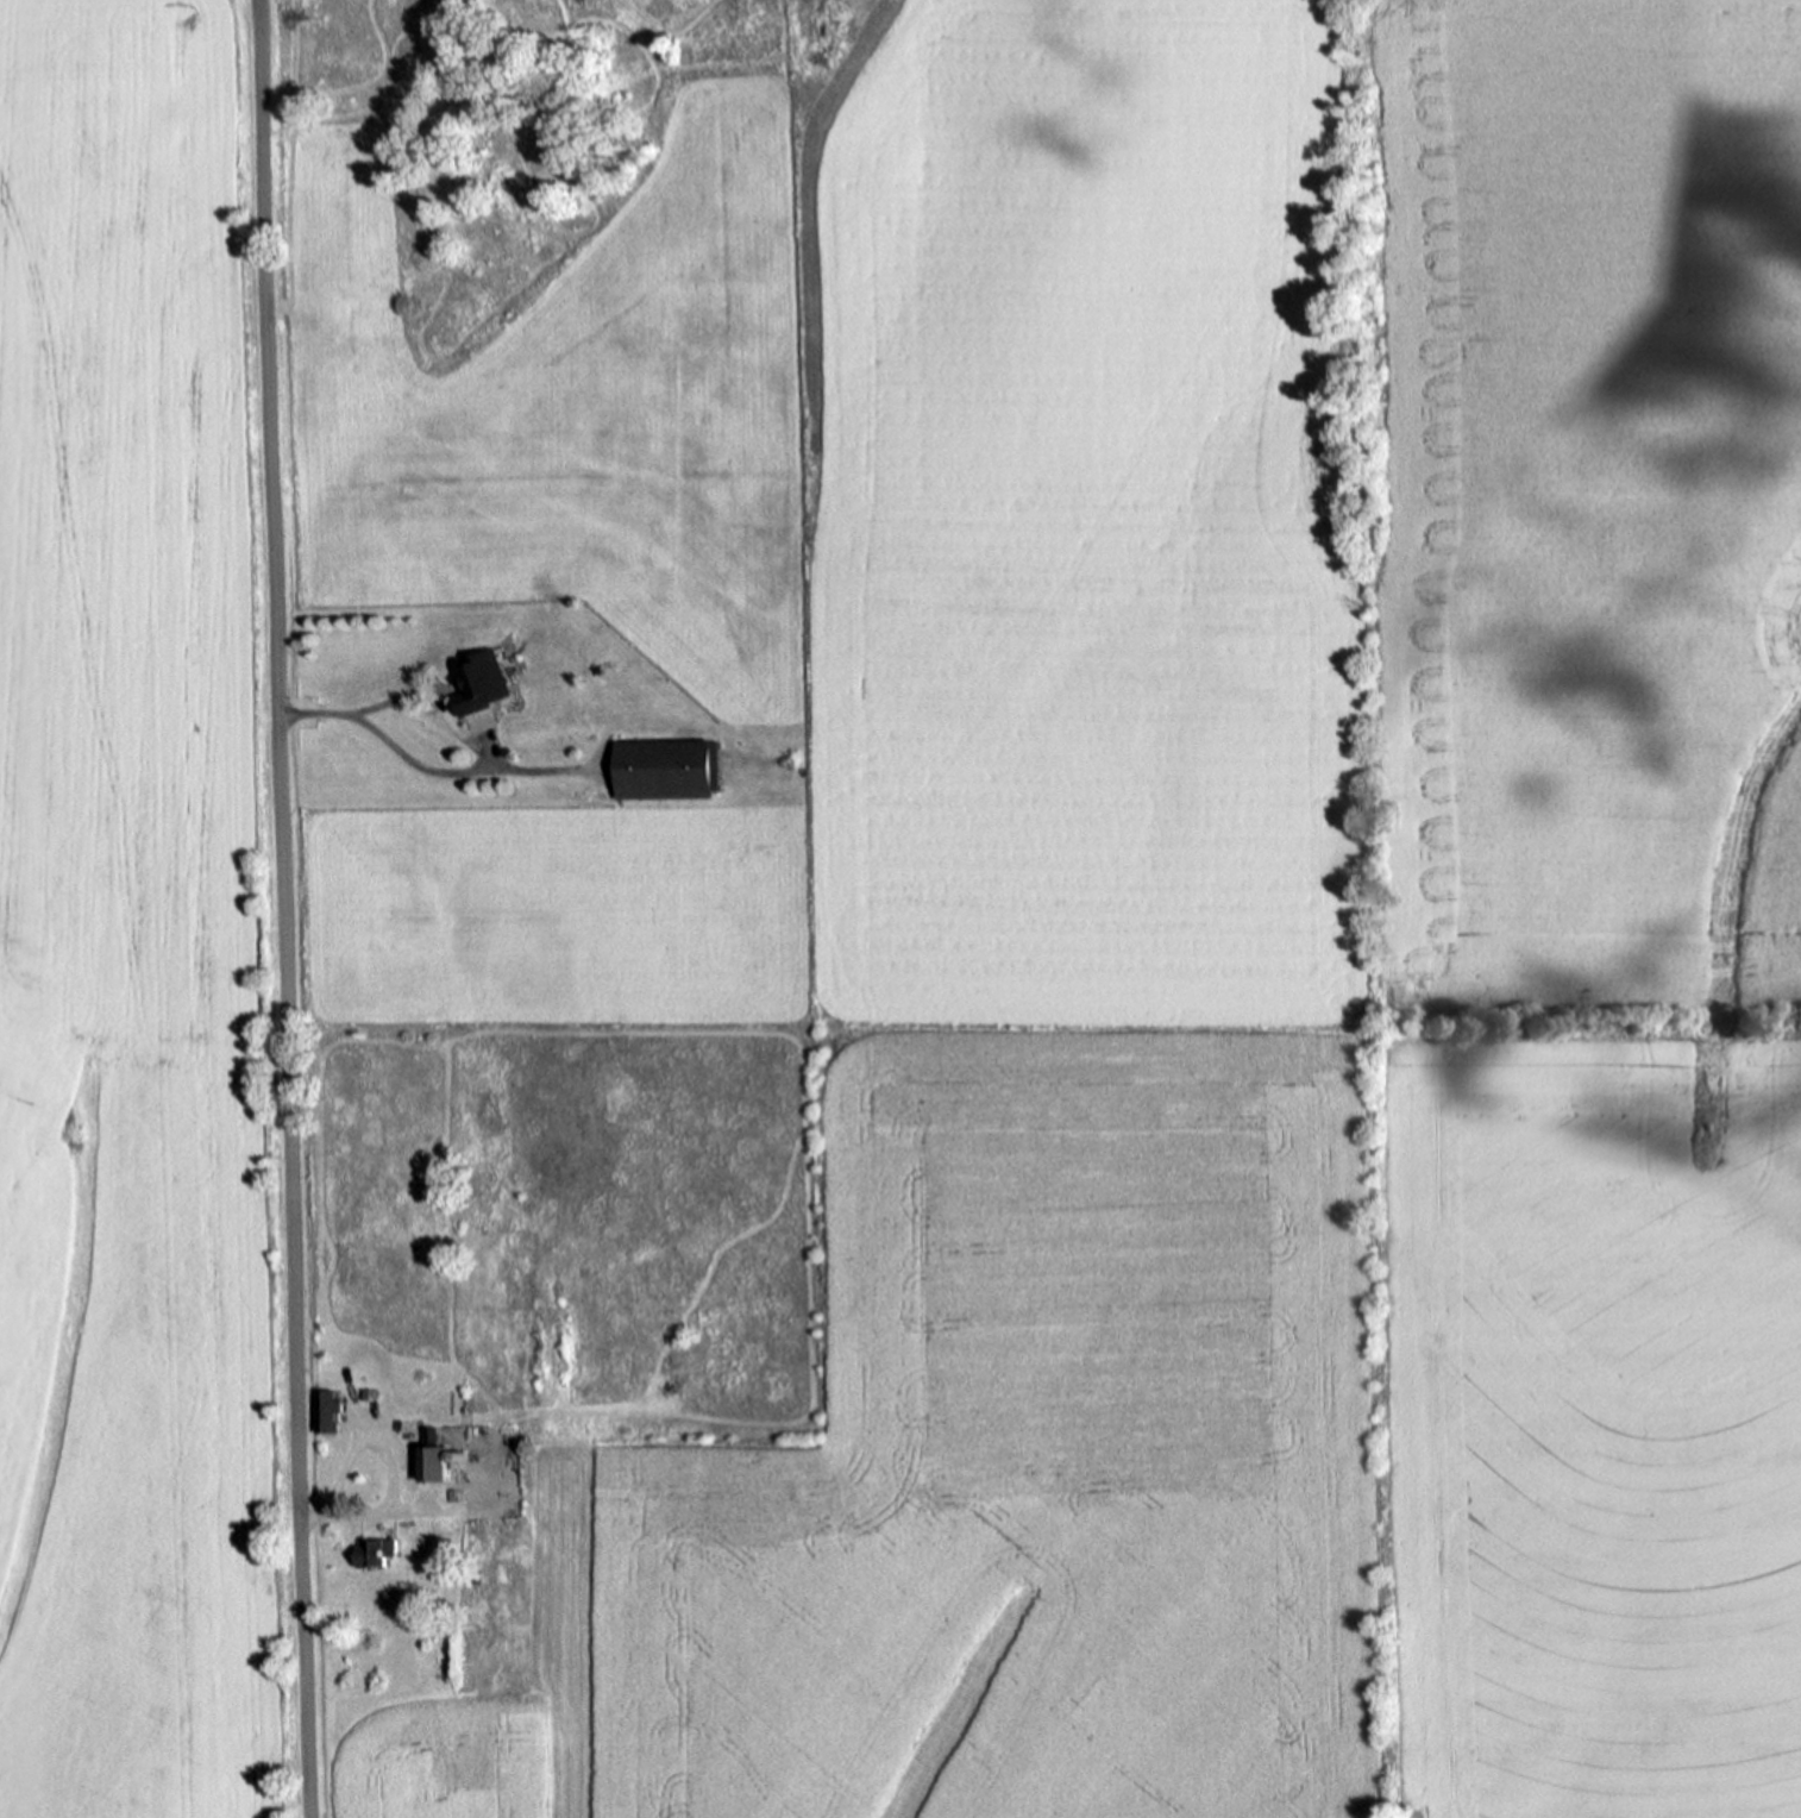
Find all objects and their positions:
building: (485, 682)
building: (667, 769)
road: (280, 909)
building: (327, 1409)
building: (435, 1457)
building: (377, 1551)
building: (446, 1573)

